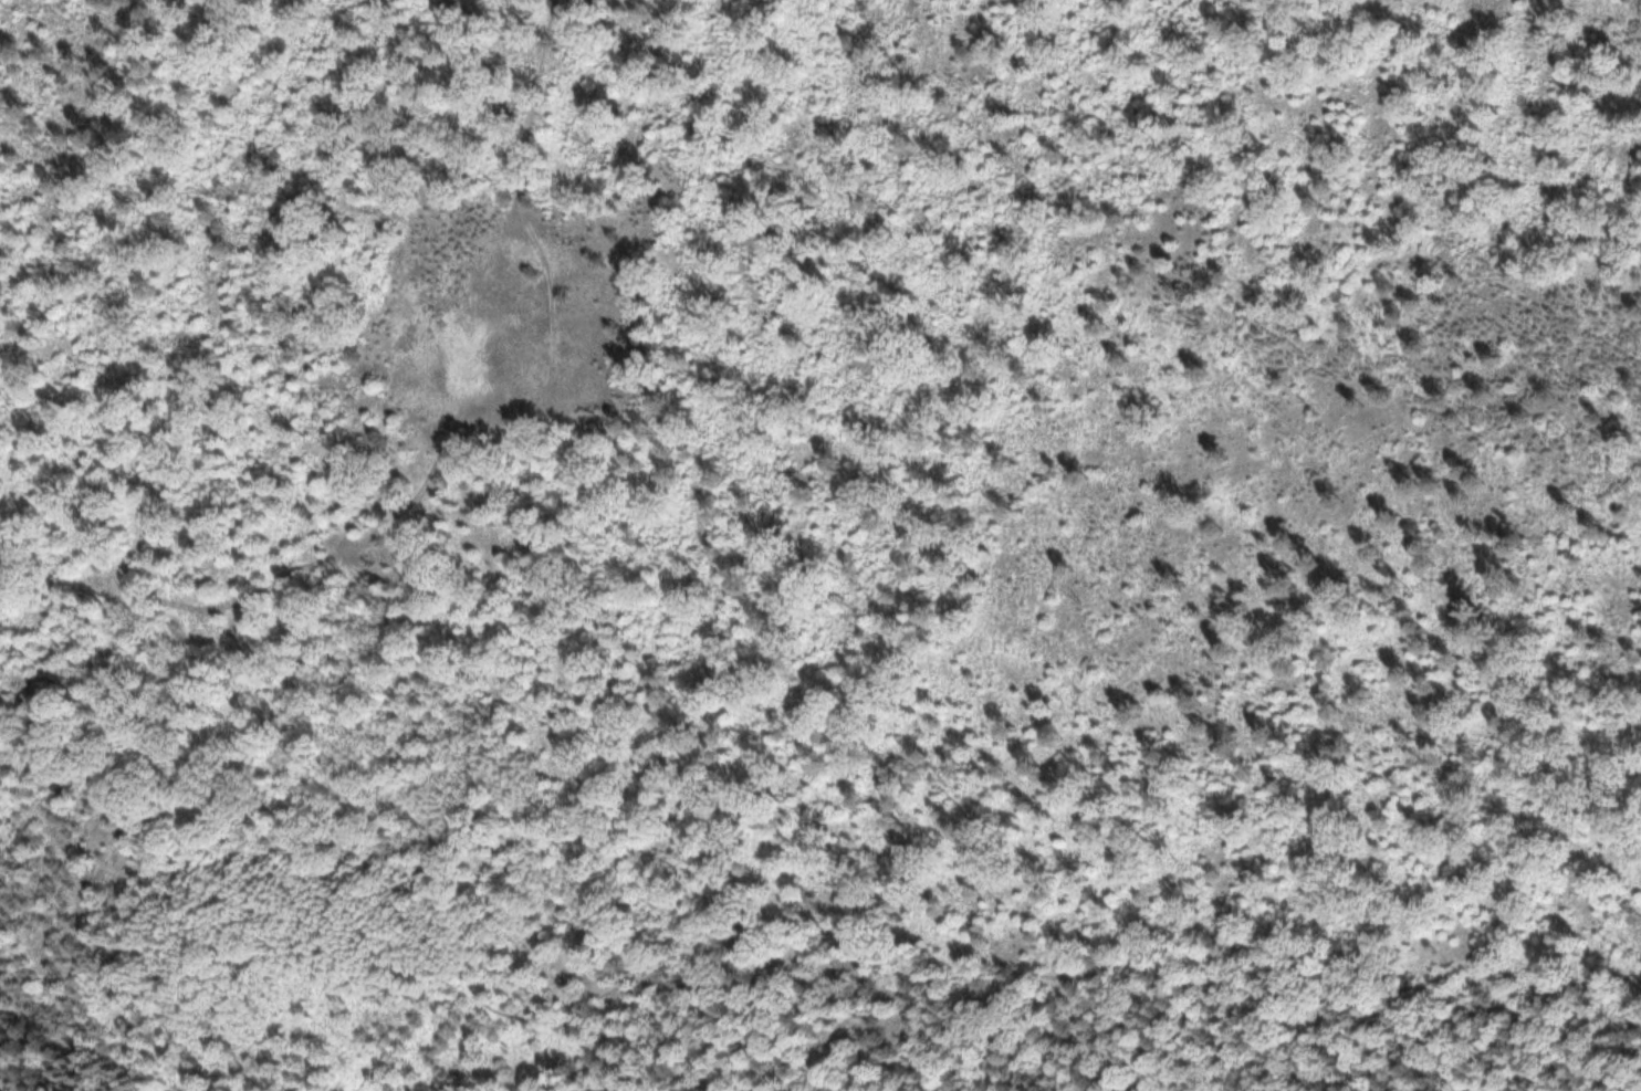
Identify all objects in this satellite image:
road: (533, 108)
road: (761, 1014)
road: (25, 1042)
road: (466, 1087)

